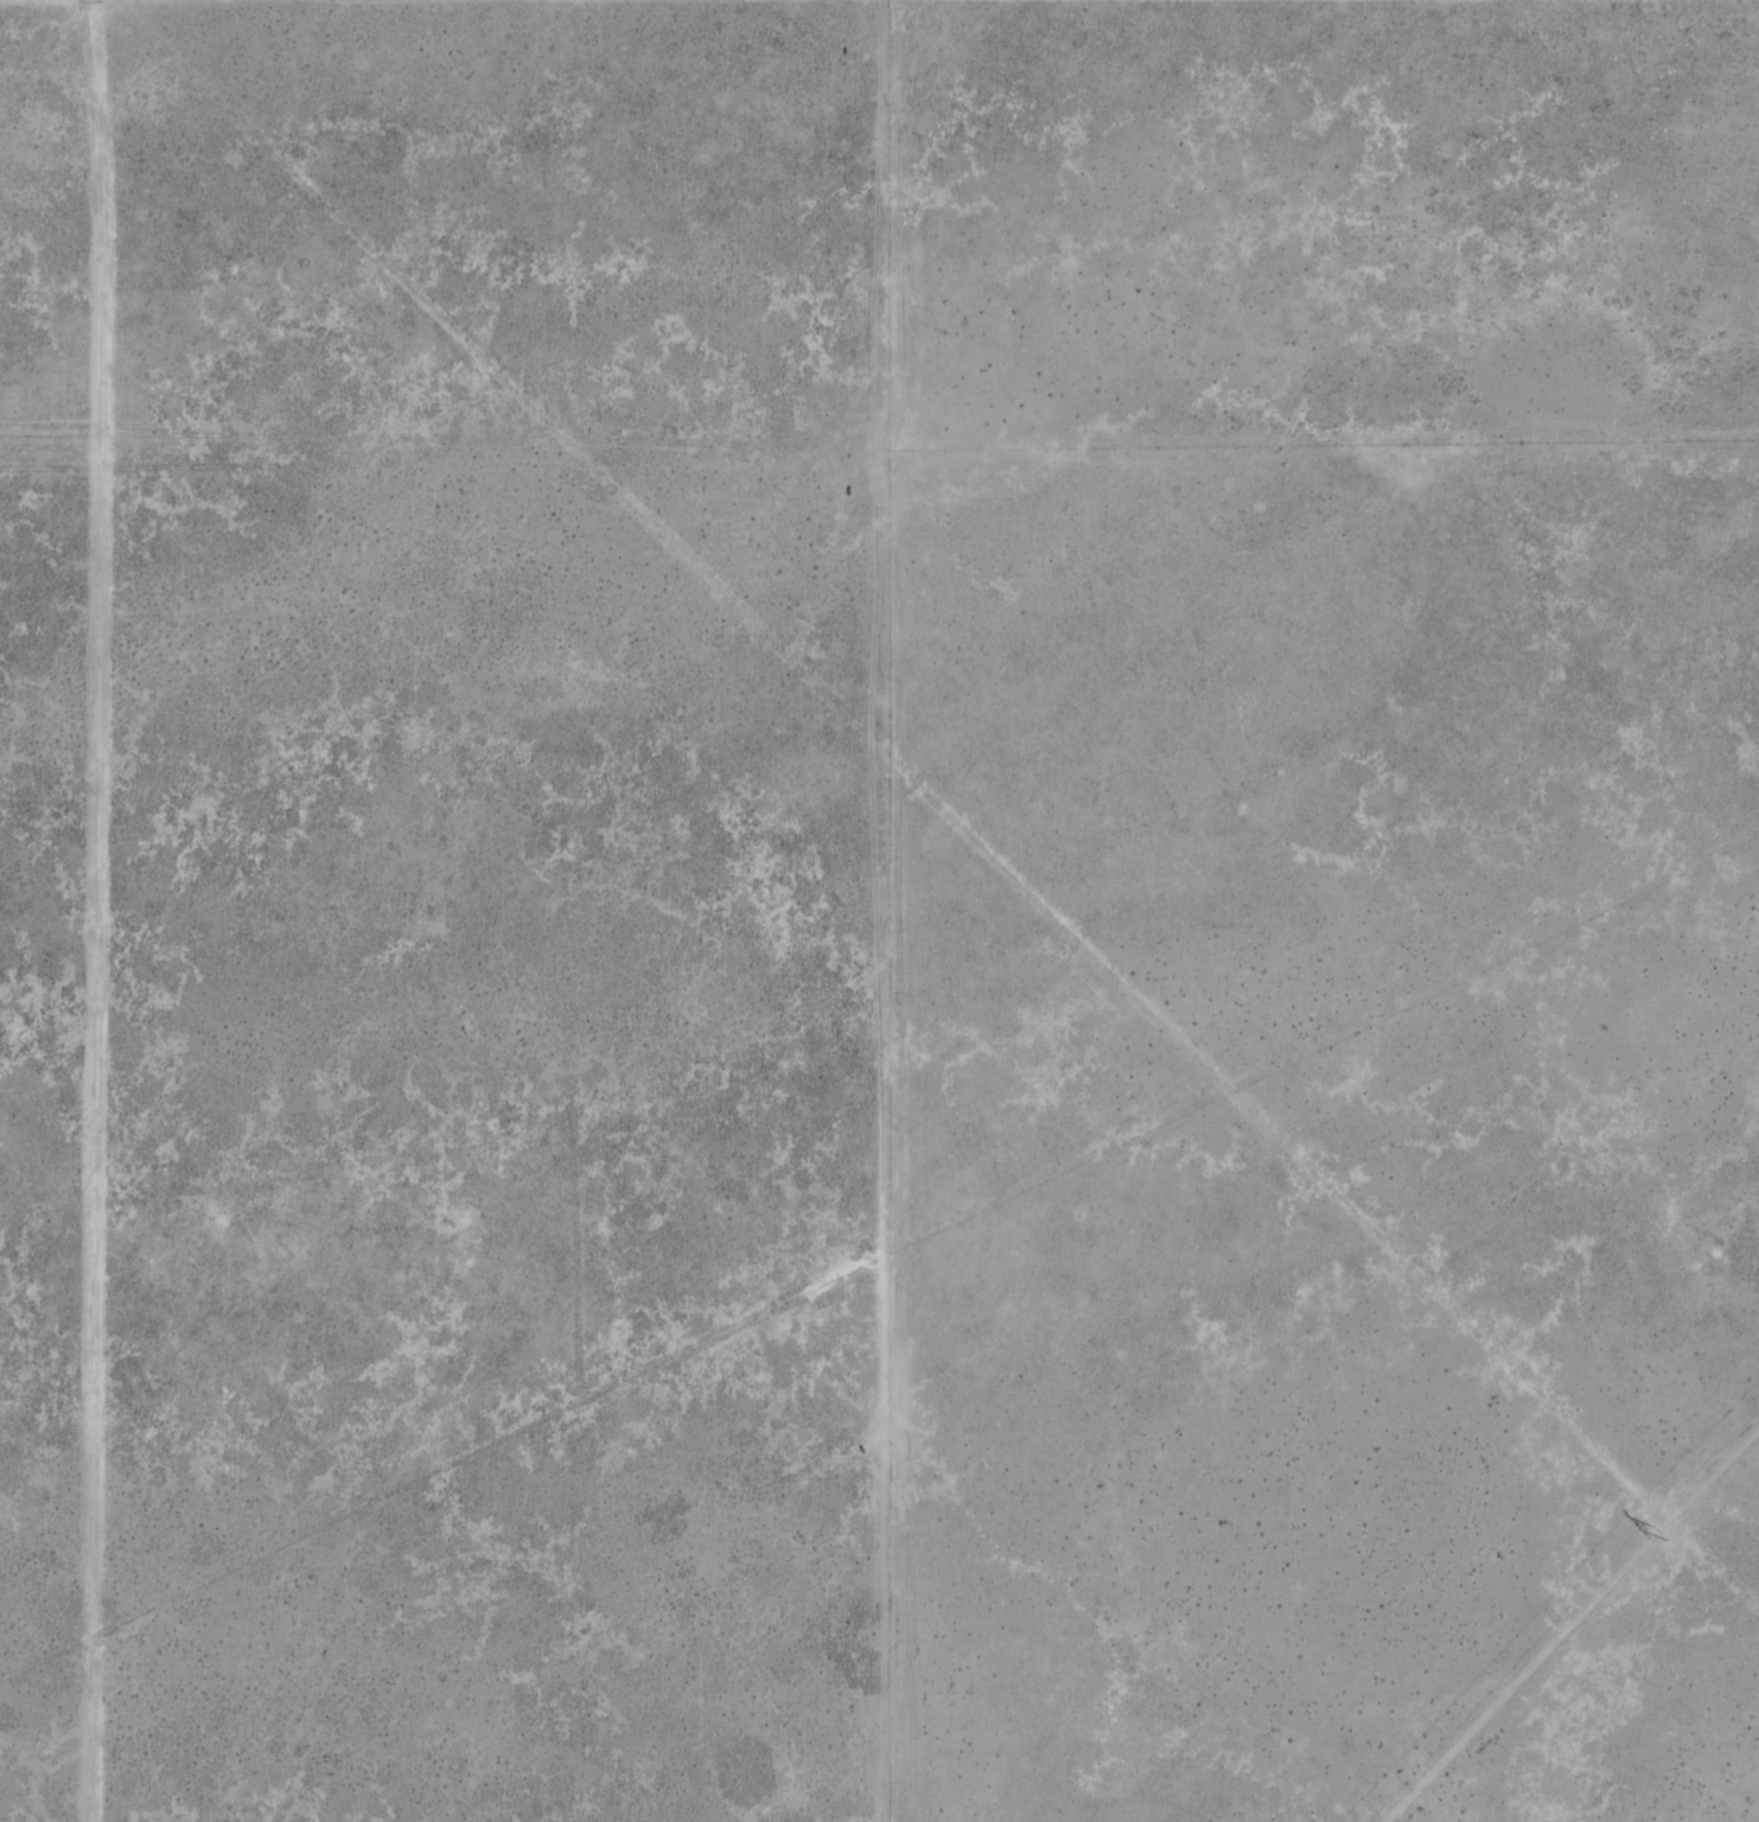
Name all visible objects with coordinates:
power tower: (1659, 1534)

